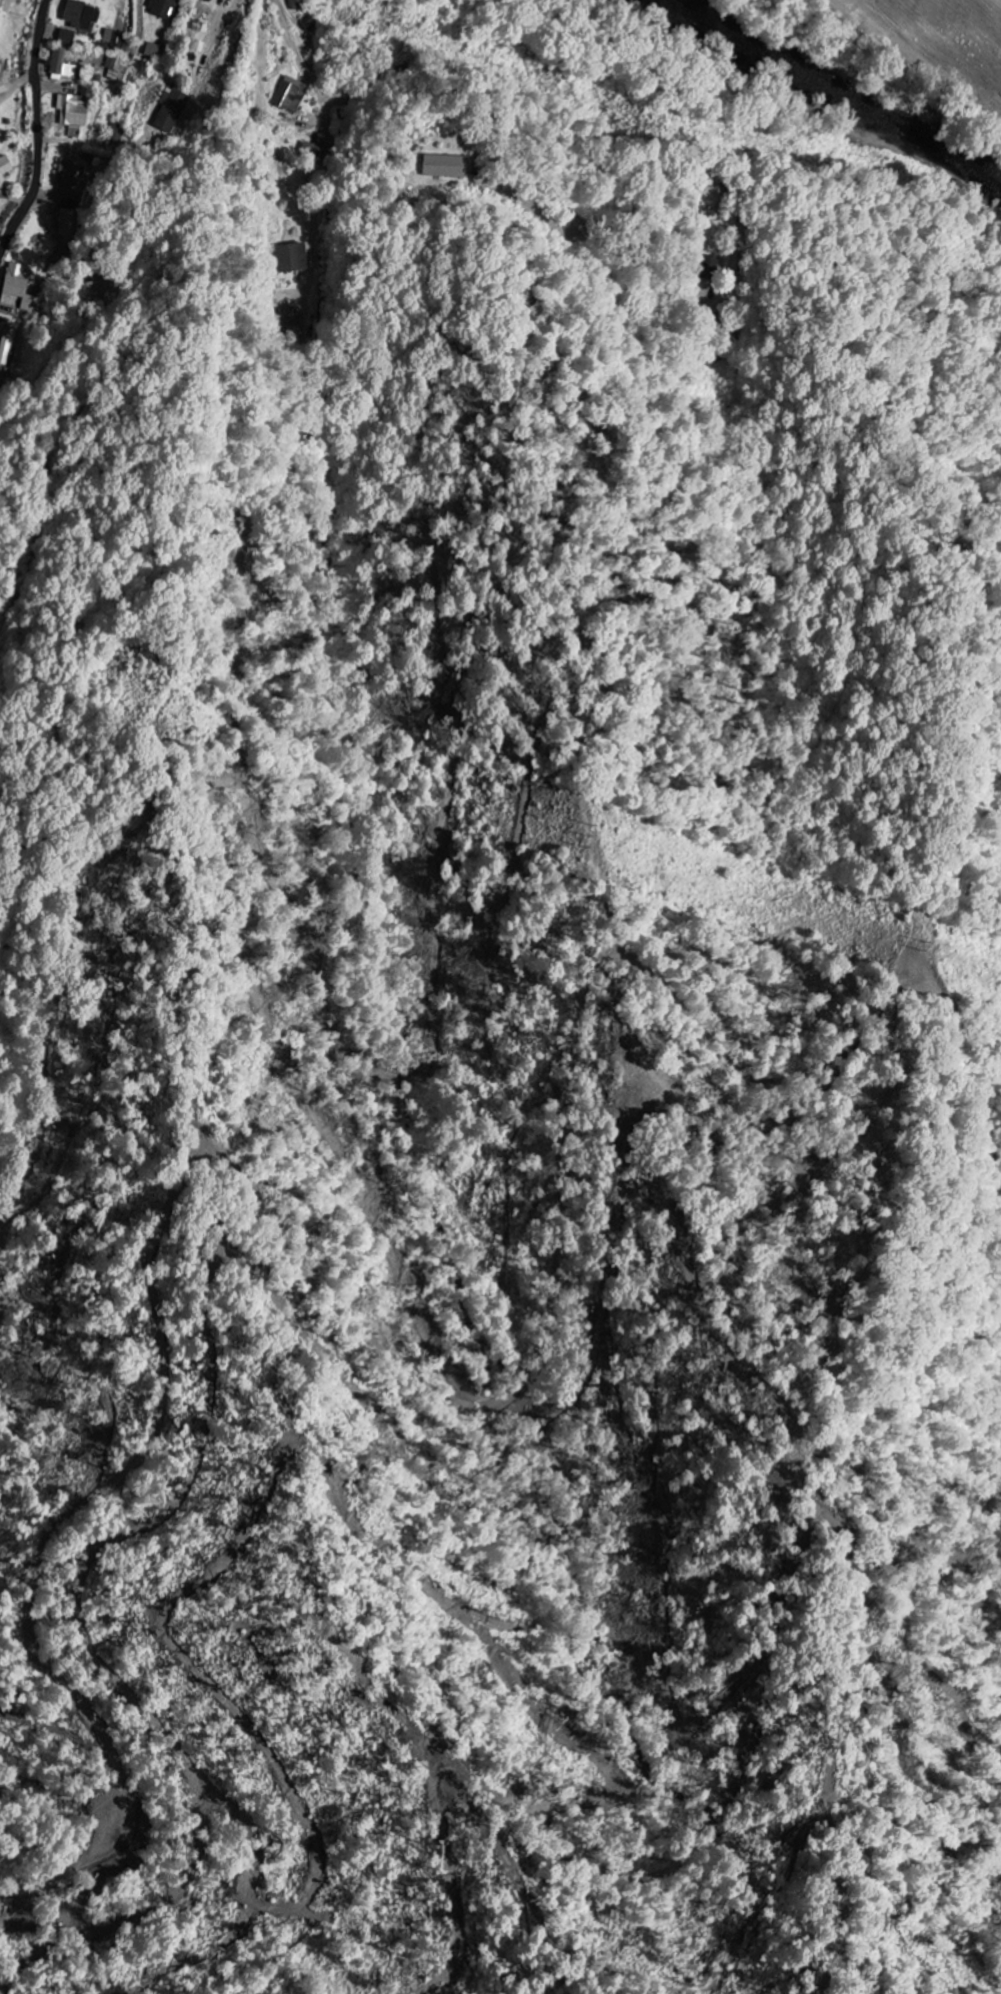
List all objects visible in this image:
building: (295, 4)
building: (162, 8)
building: (80, 16)
building: (65, 36)
building: (114, 41)
building: (152, 50)
building: (60, 64)
building: (116, 68)
river: (838, 81)
building: (2, 87)
building: (291, 94)
building: (72, 109)
building: (170, 110)
building: (118, 132)
road: (39, 136)
building: (313, 148)
building: (444, 165)
building: (4, 167)
building: (69, 172)
road: (14, 199)
building: (72, 222)
road: (620, 254)
building: (292, 256)
building: (710, 264)
building: (18, 289)
building: (291, 317)
building: (5, 346)
power tower: (925, 946)

